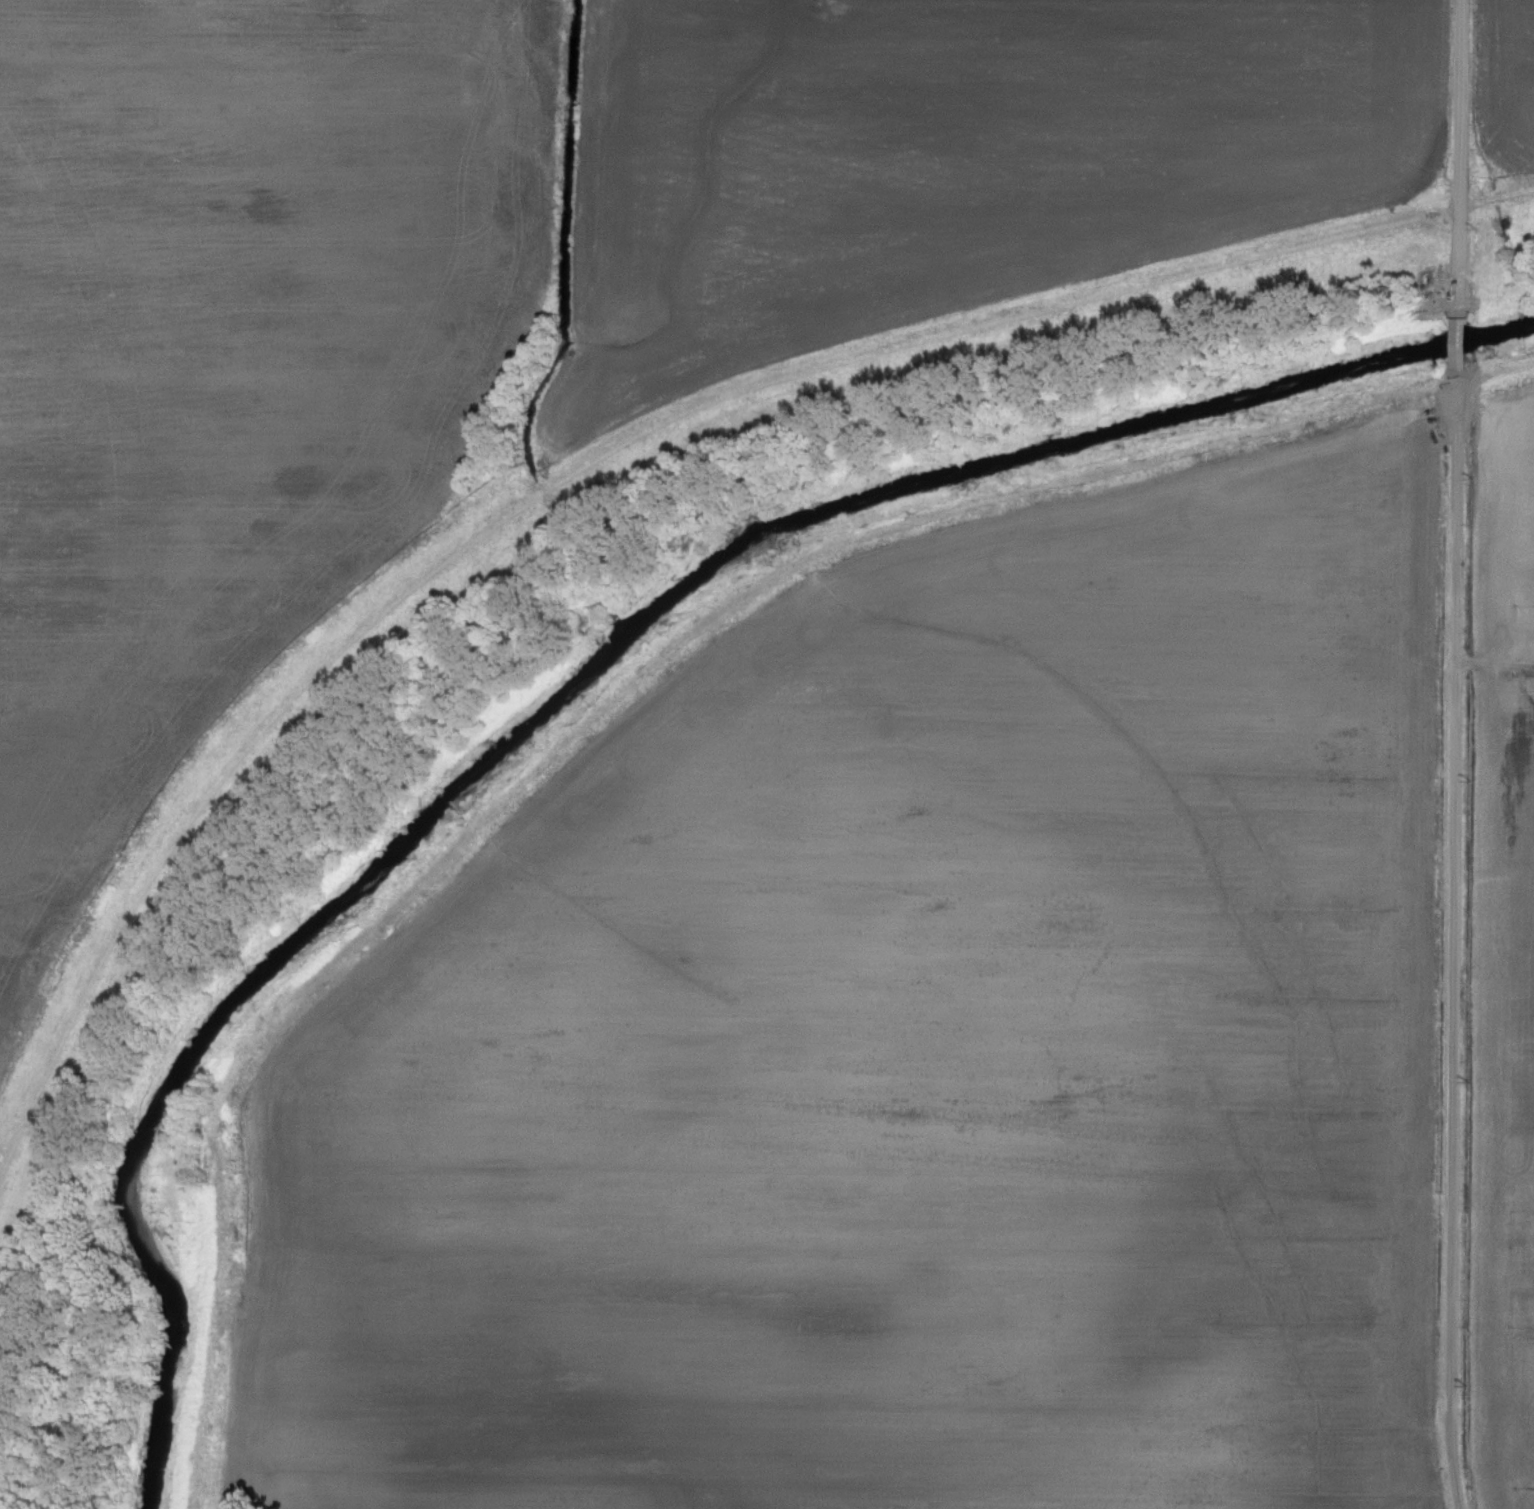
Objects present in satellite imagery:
road: (1179, 4)
road: (1458, 159)
road: (1458, 344)
river: (586, 675)
road: (1496, 680)
road: (1457, 939)

